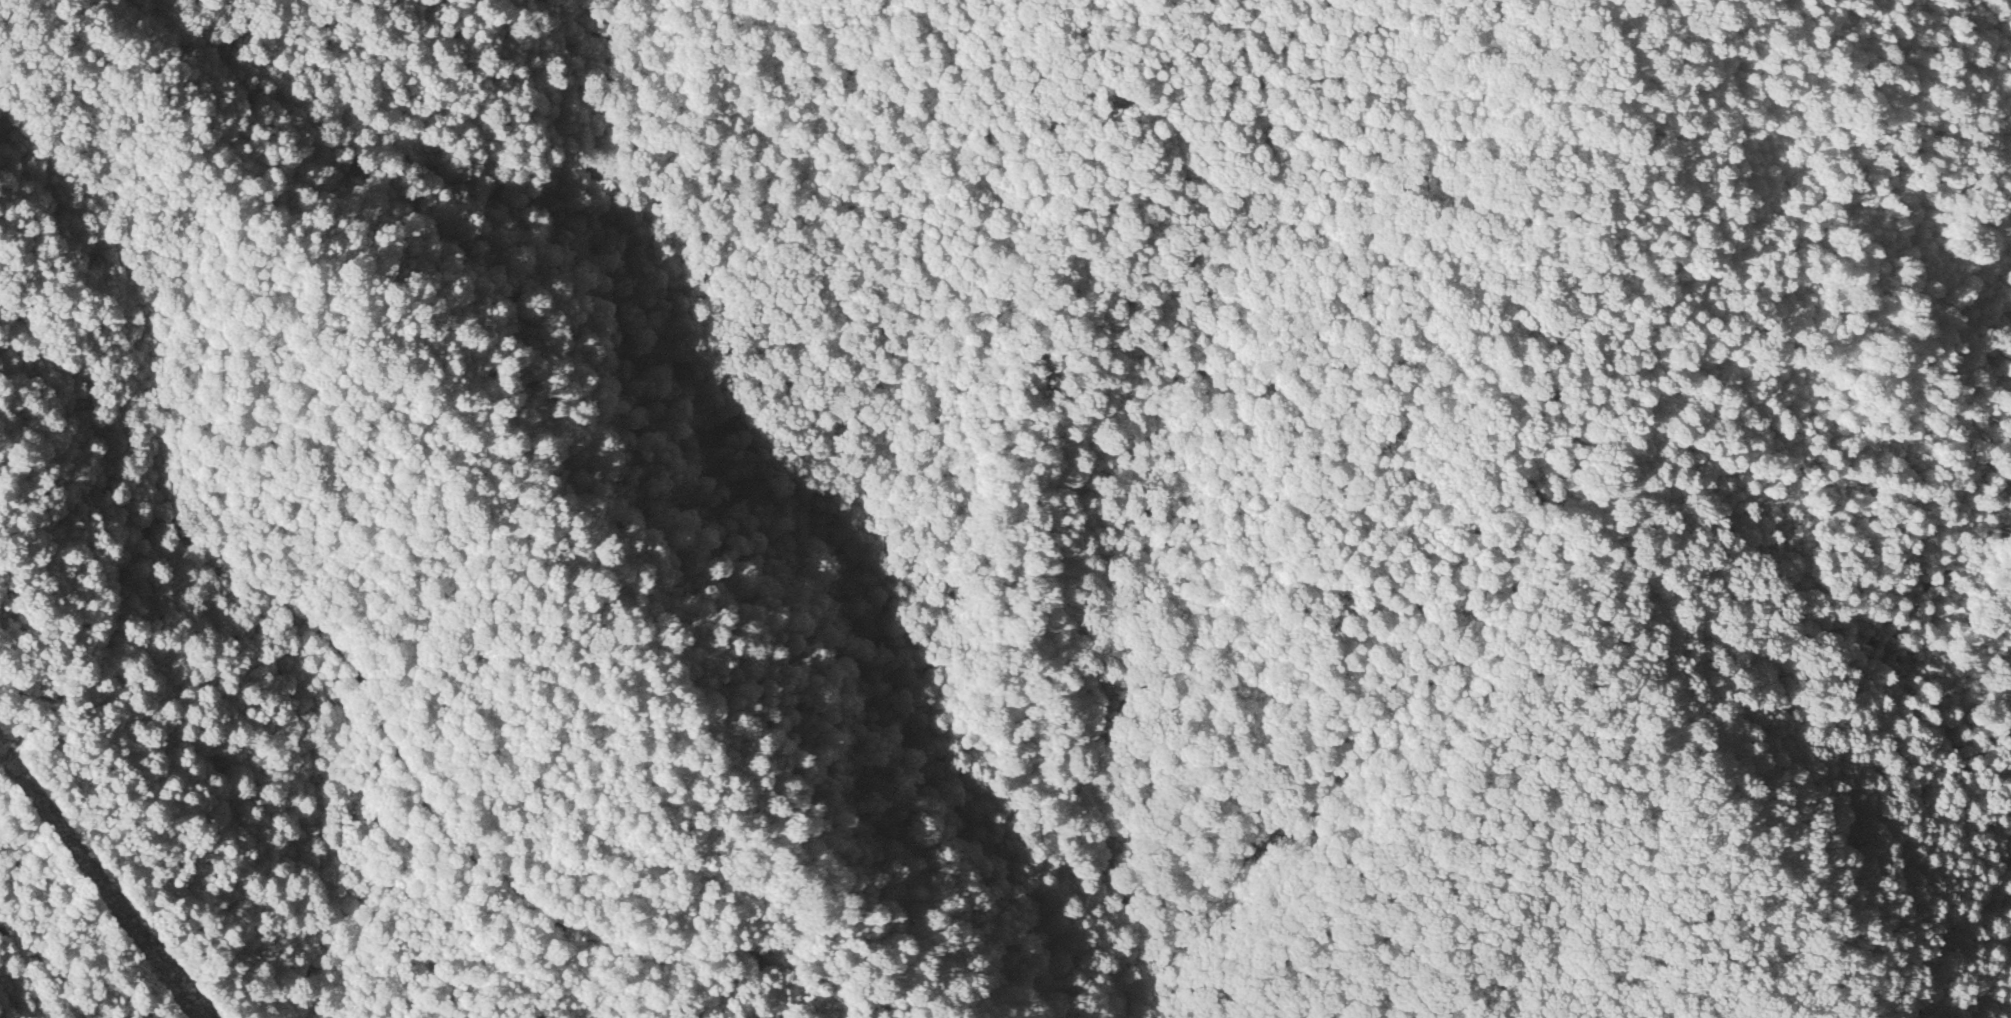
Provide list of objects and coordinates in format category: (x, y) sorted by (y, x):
road: (378, 717)

